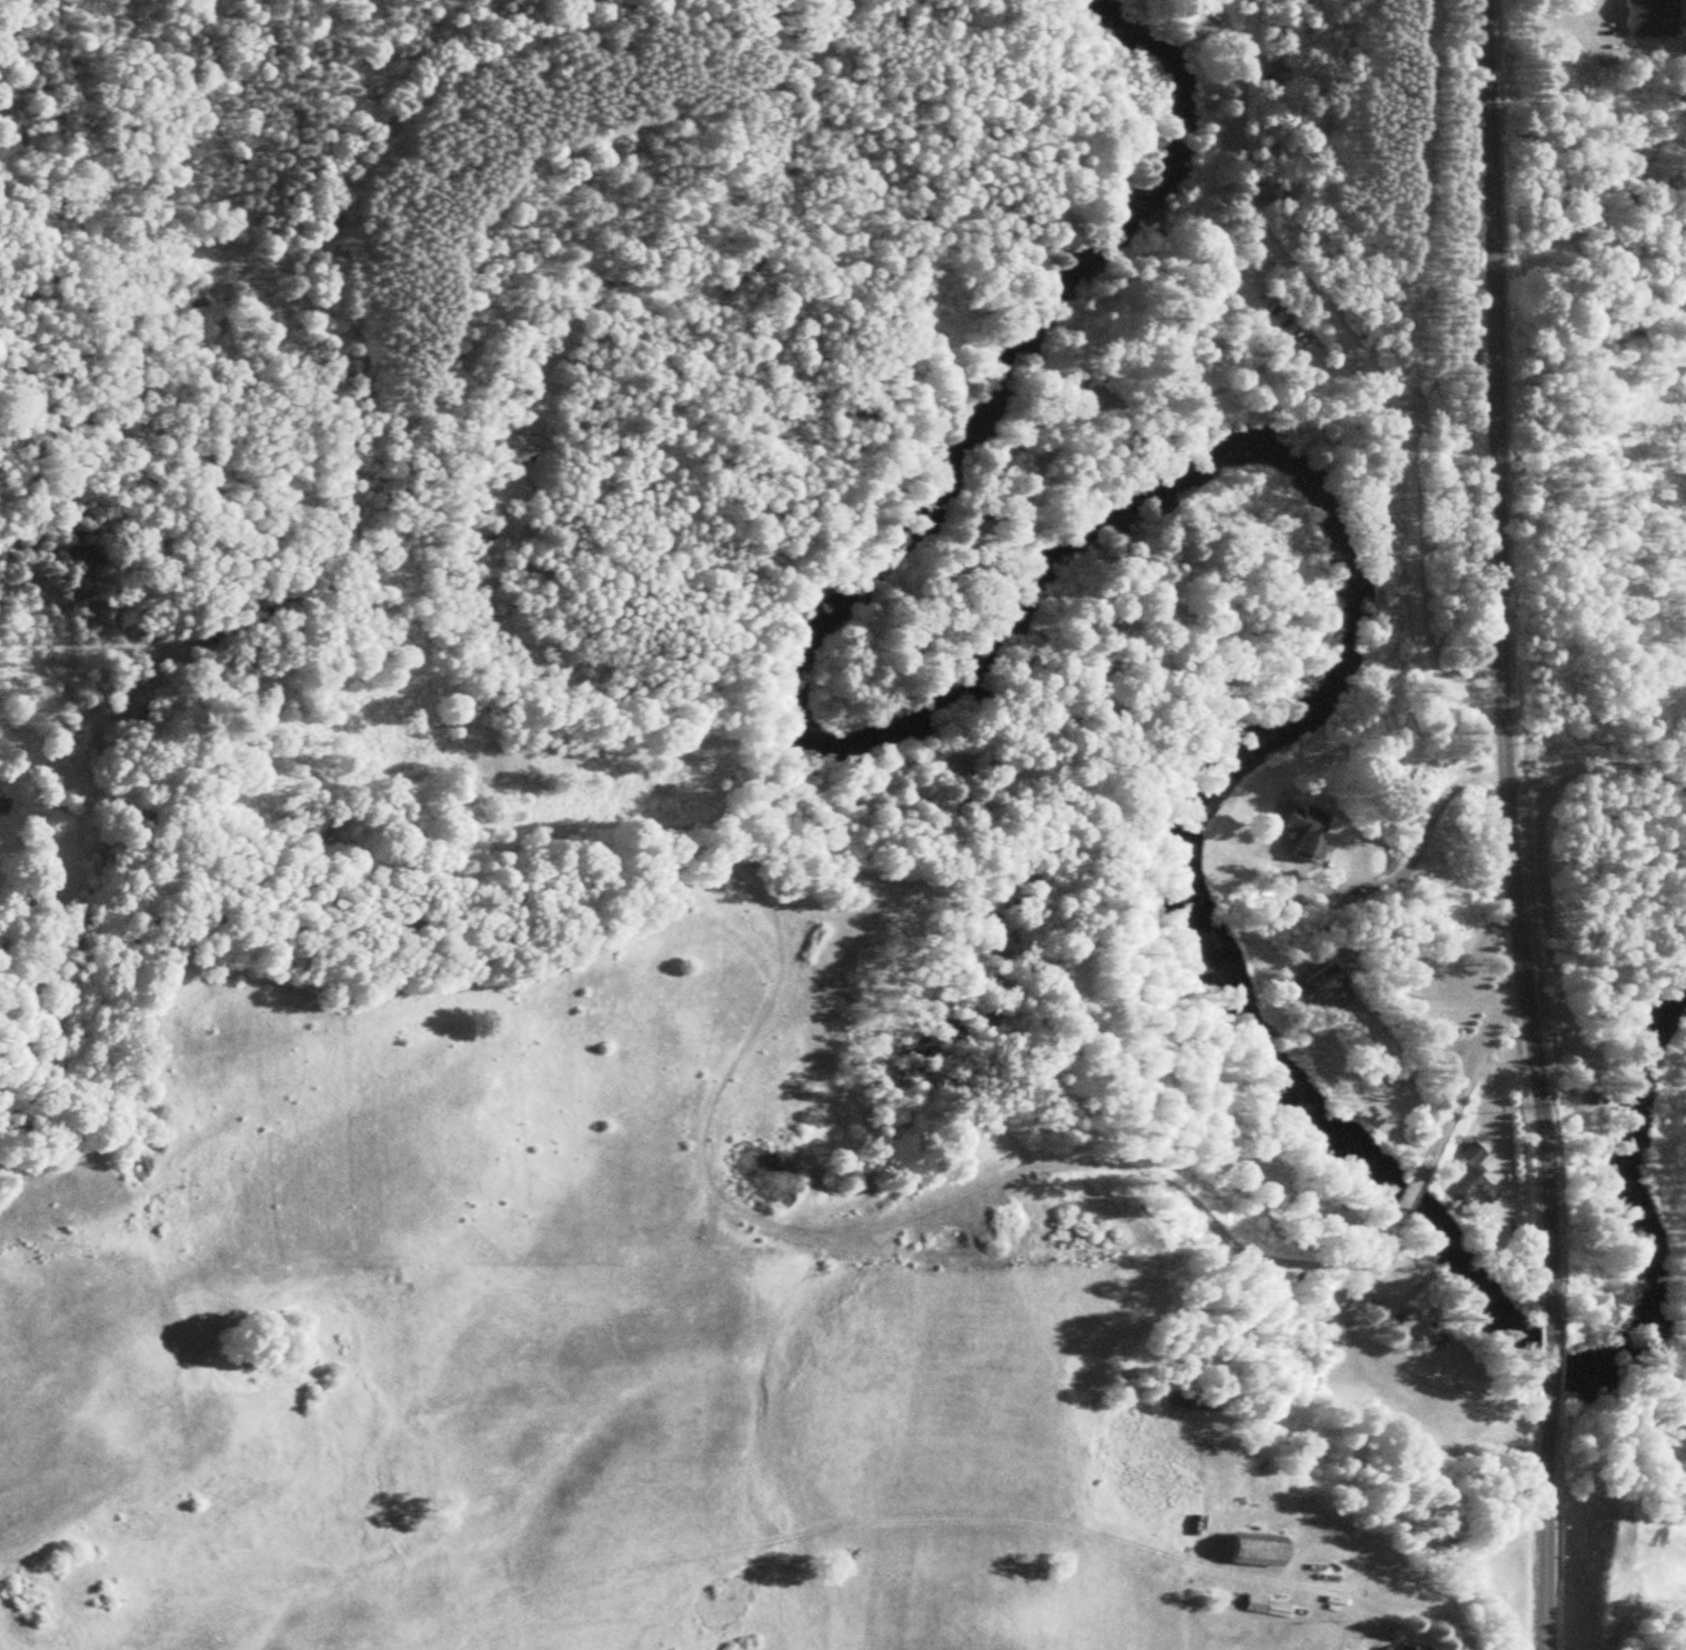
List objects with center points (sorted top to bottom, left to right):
building: (1640, 17)
park: (1318, 221)
road: (1271, 328)
road: (1365, 361)
road: (1037, 480)
river: (1316, 489)
road: (1499, 651)
road: (1597, 767)
building: (1301, 830)
building: (1308, 987)
road: (1468, 1062)
building: (1473, 1174)
road: (1408, 1190)
road: (1353, 1291)
building: (1426, 1336)
road: (1548, 1350)
road: (1546, 1526)
building: (1250, 1549)
road: (1443, 1626)
building: (1392, 1647)

